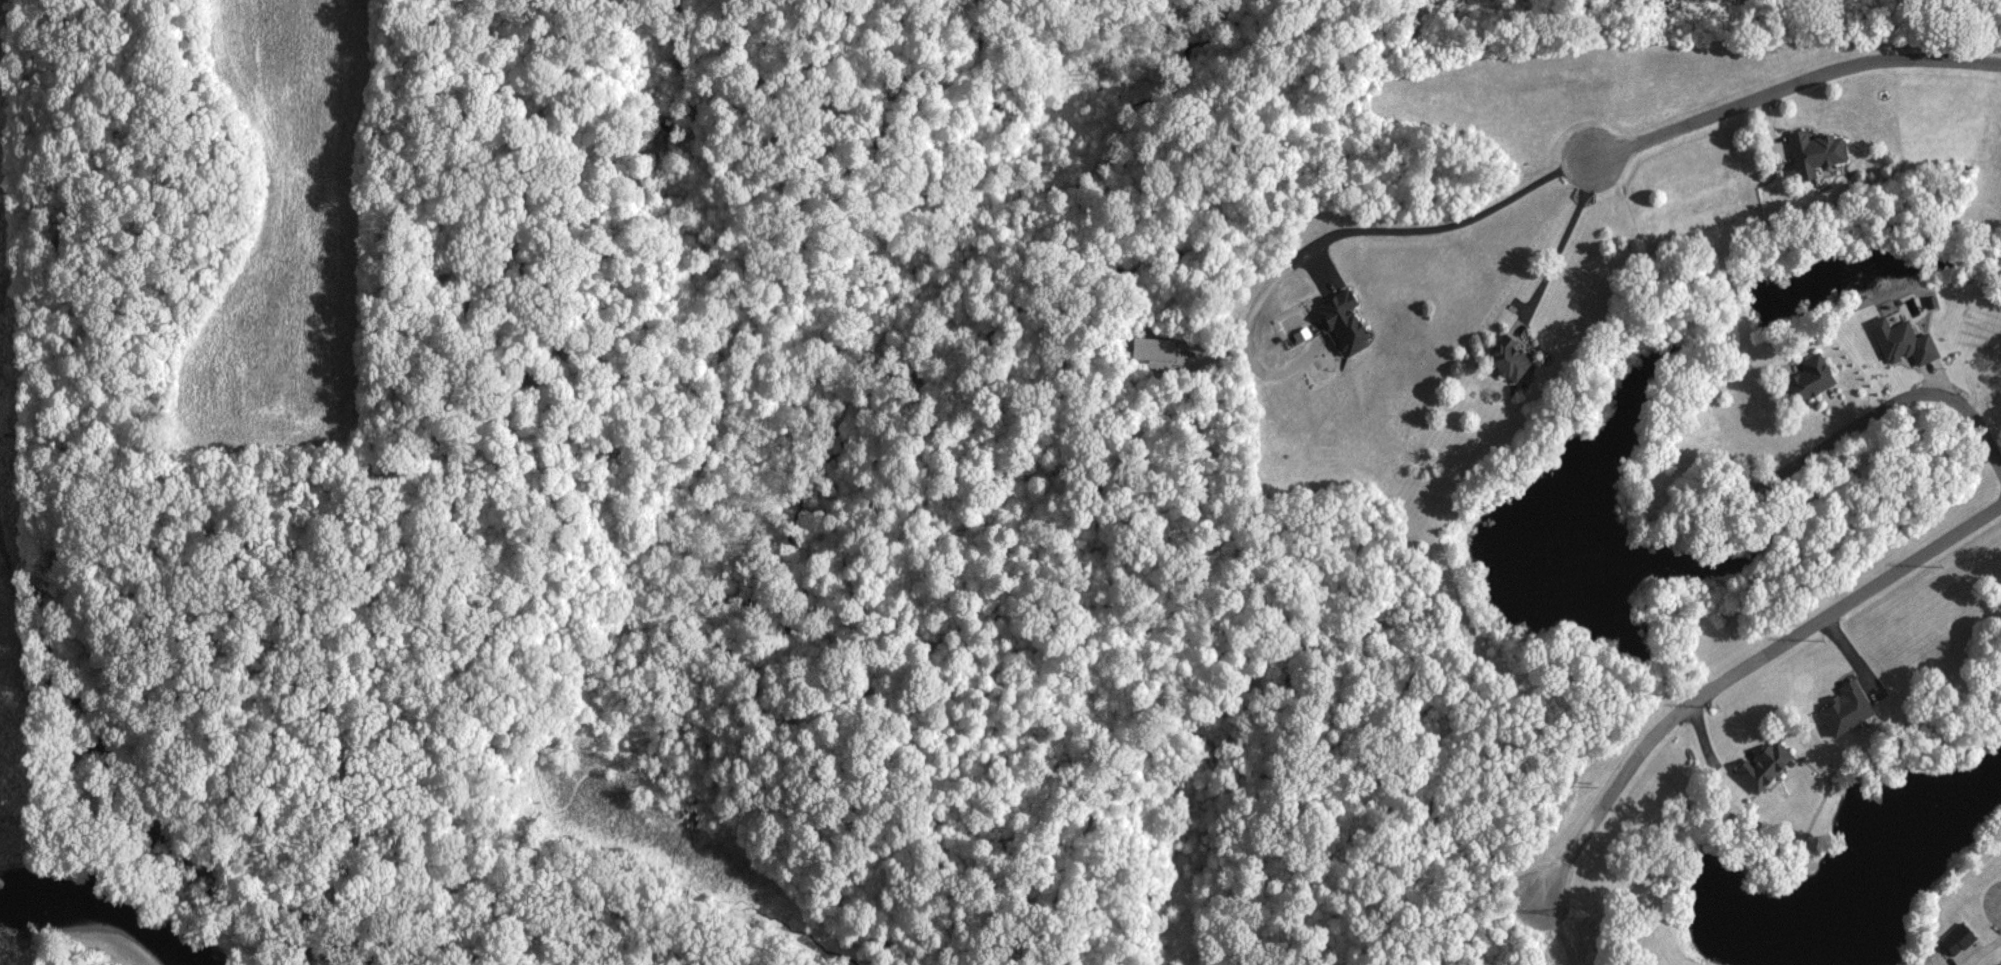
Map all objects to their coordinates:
road: (1792, 86)
building: (1816, 151)
road: (1440, 226)
road: (1563, 241)
building: (1346, 320)
building: (1904, 341)
building: (1513, 358)
building: (1813, 375)
road: (1951, 396)
road: (1859, 660)
road: (1743, 674)
building: (1849, 708)
road: (1711, 754)
building: (1766, 766)
river: (105, 918)
building: (1960, 937)

